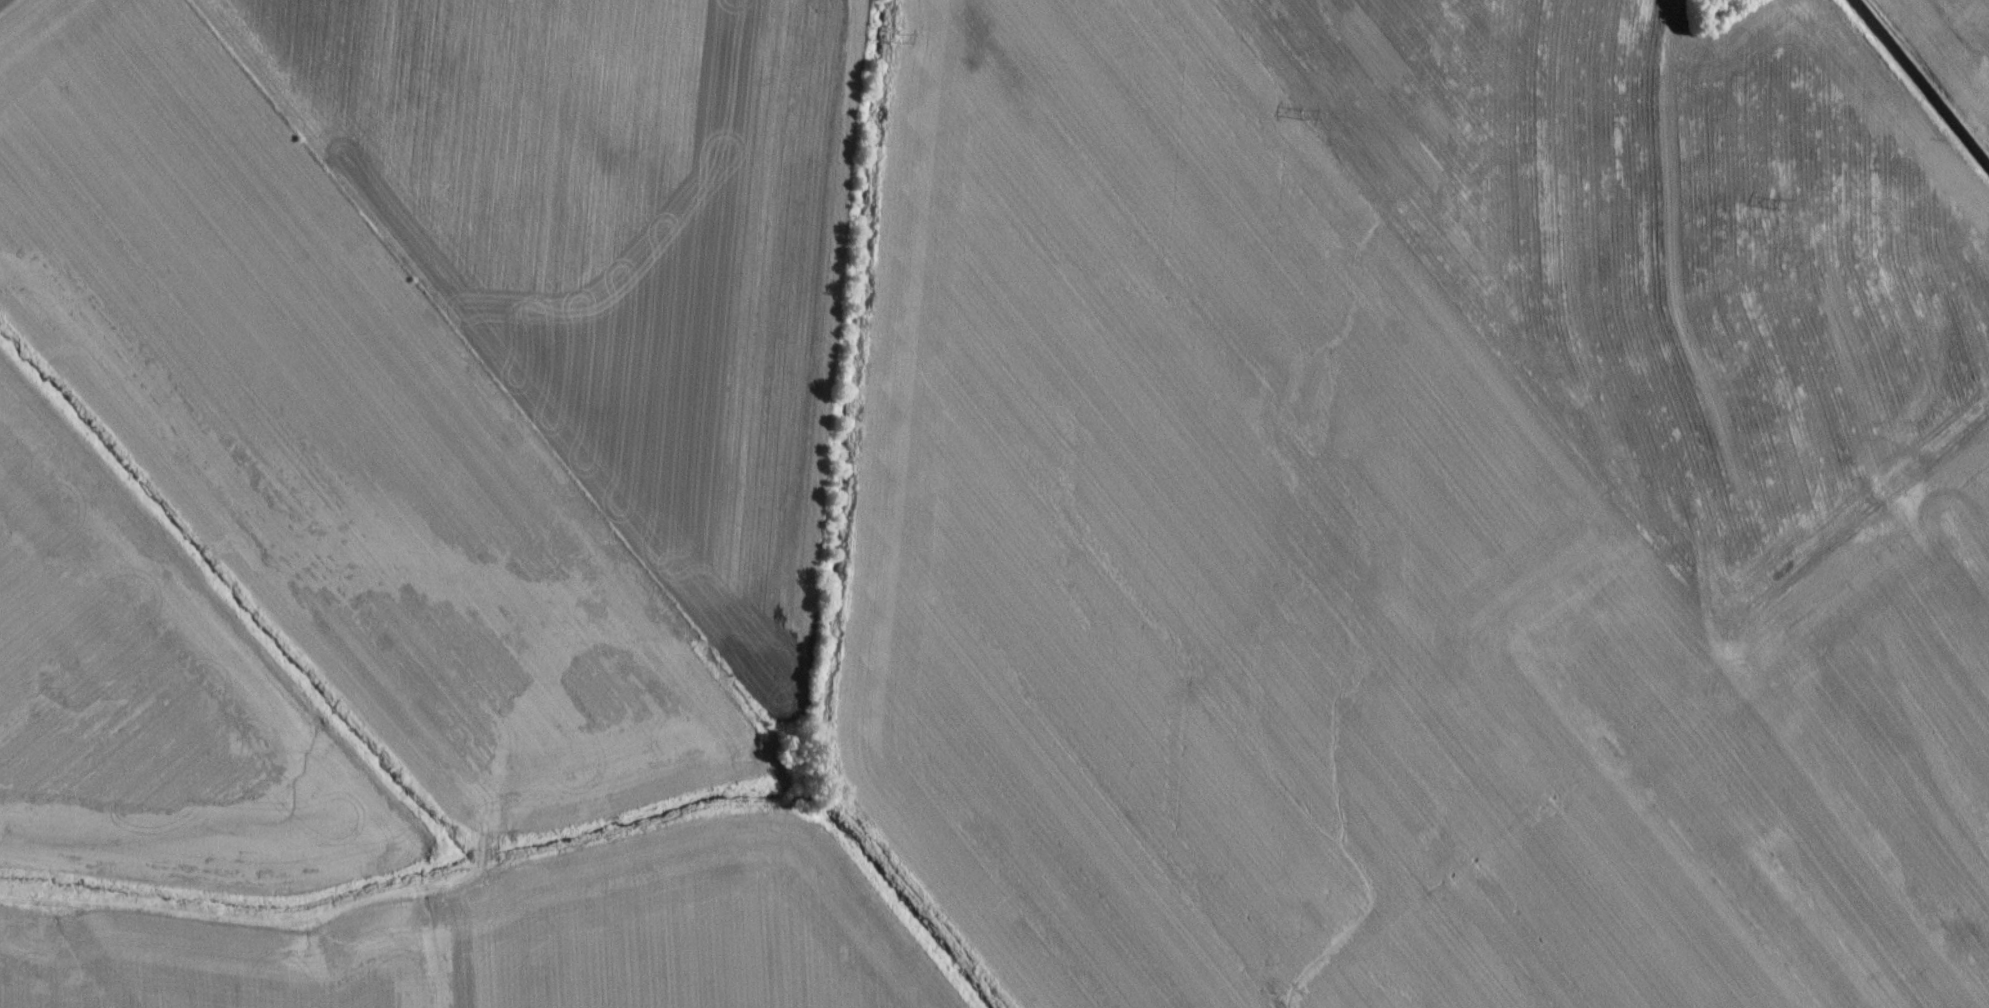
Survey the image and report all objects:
road: (1920, 84)

